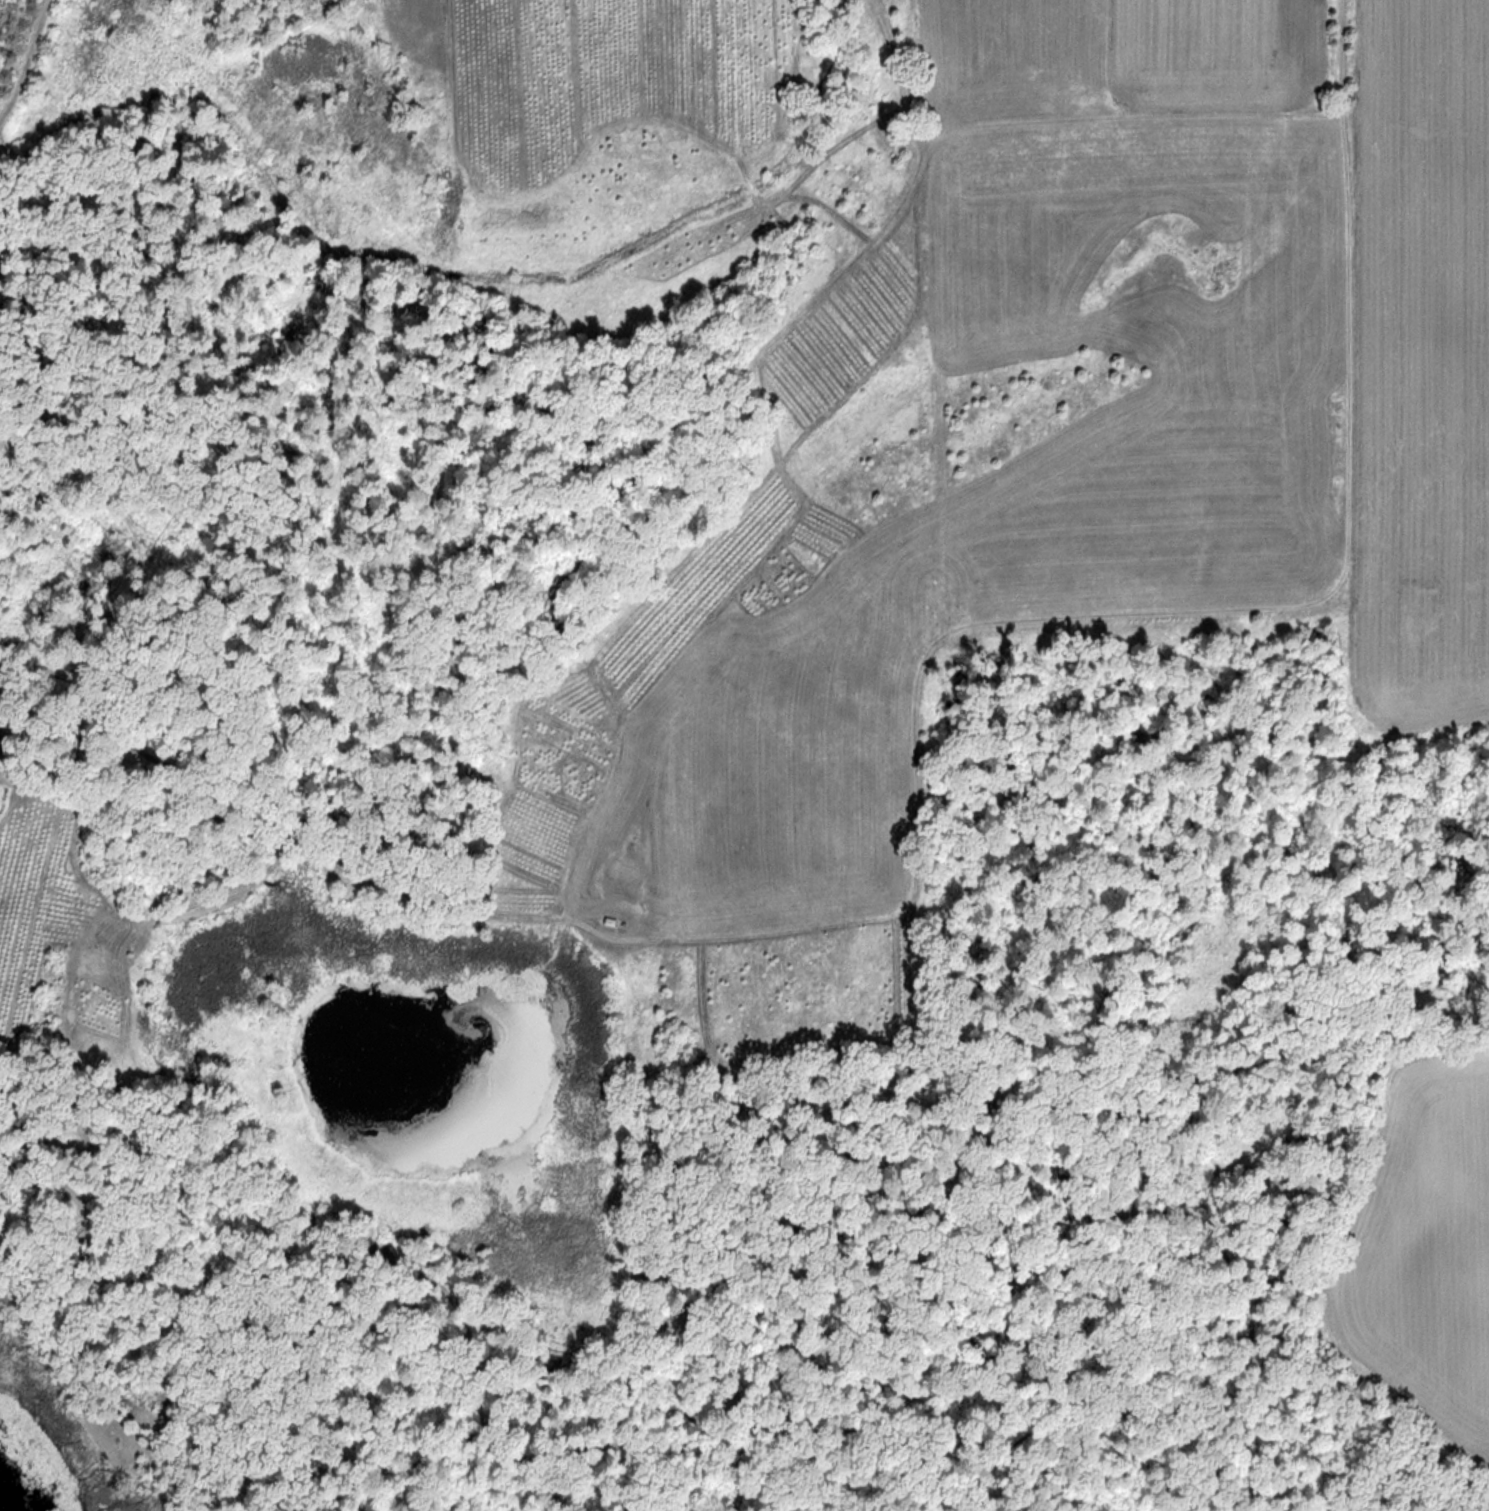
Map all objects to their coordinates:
road: (287, 828)
park: (8, 1287)

